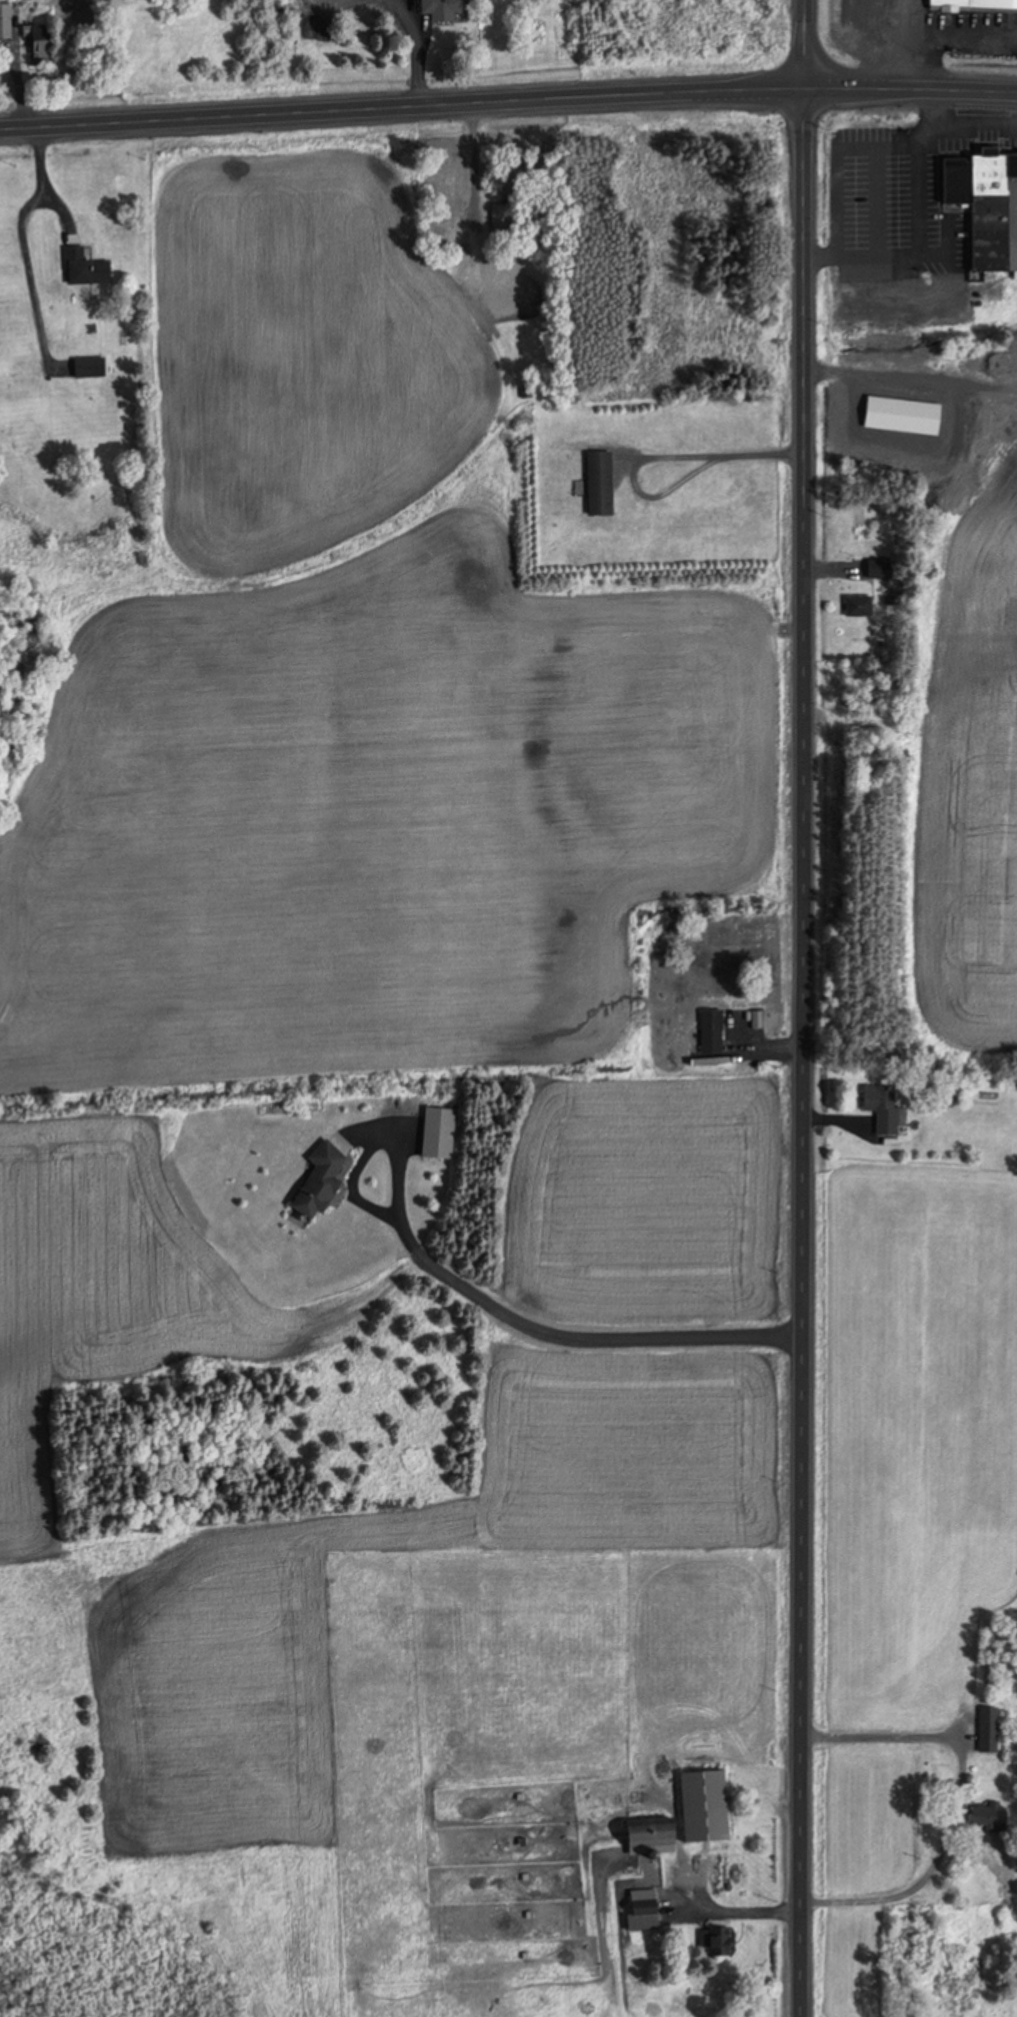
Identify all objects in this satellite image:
building: (972, 4)
building: (439, 7)
building: (866, 20)
building: (45, 43)
road: (800, 44)
road: (908, 92)
road: (399, 108)
building: (445, 185)
building: (983, 207)
building: (495, 221)
building: (88, 268)
building: (493, 289)
building: (91, 367)
building: (593, 484)
building: (871, 569)
building: (853, 607)
building: (706, 1034)
road: (805, 1053)
building: (877, 1108)
building: (432, 1135)
building: (311, 1184)
building: (984, 1730)
building: (699, 1806)
building: (984, 1816)
building: (642, 1834)
building: (637, 1910)
building: (711, 1942)

